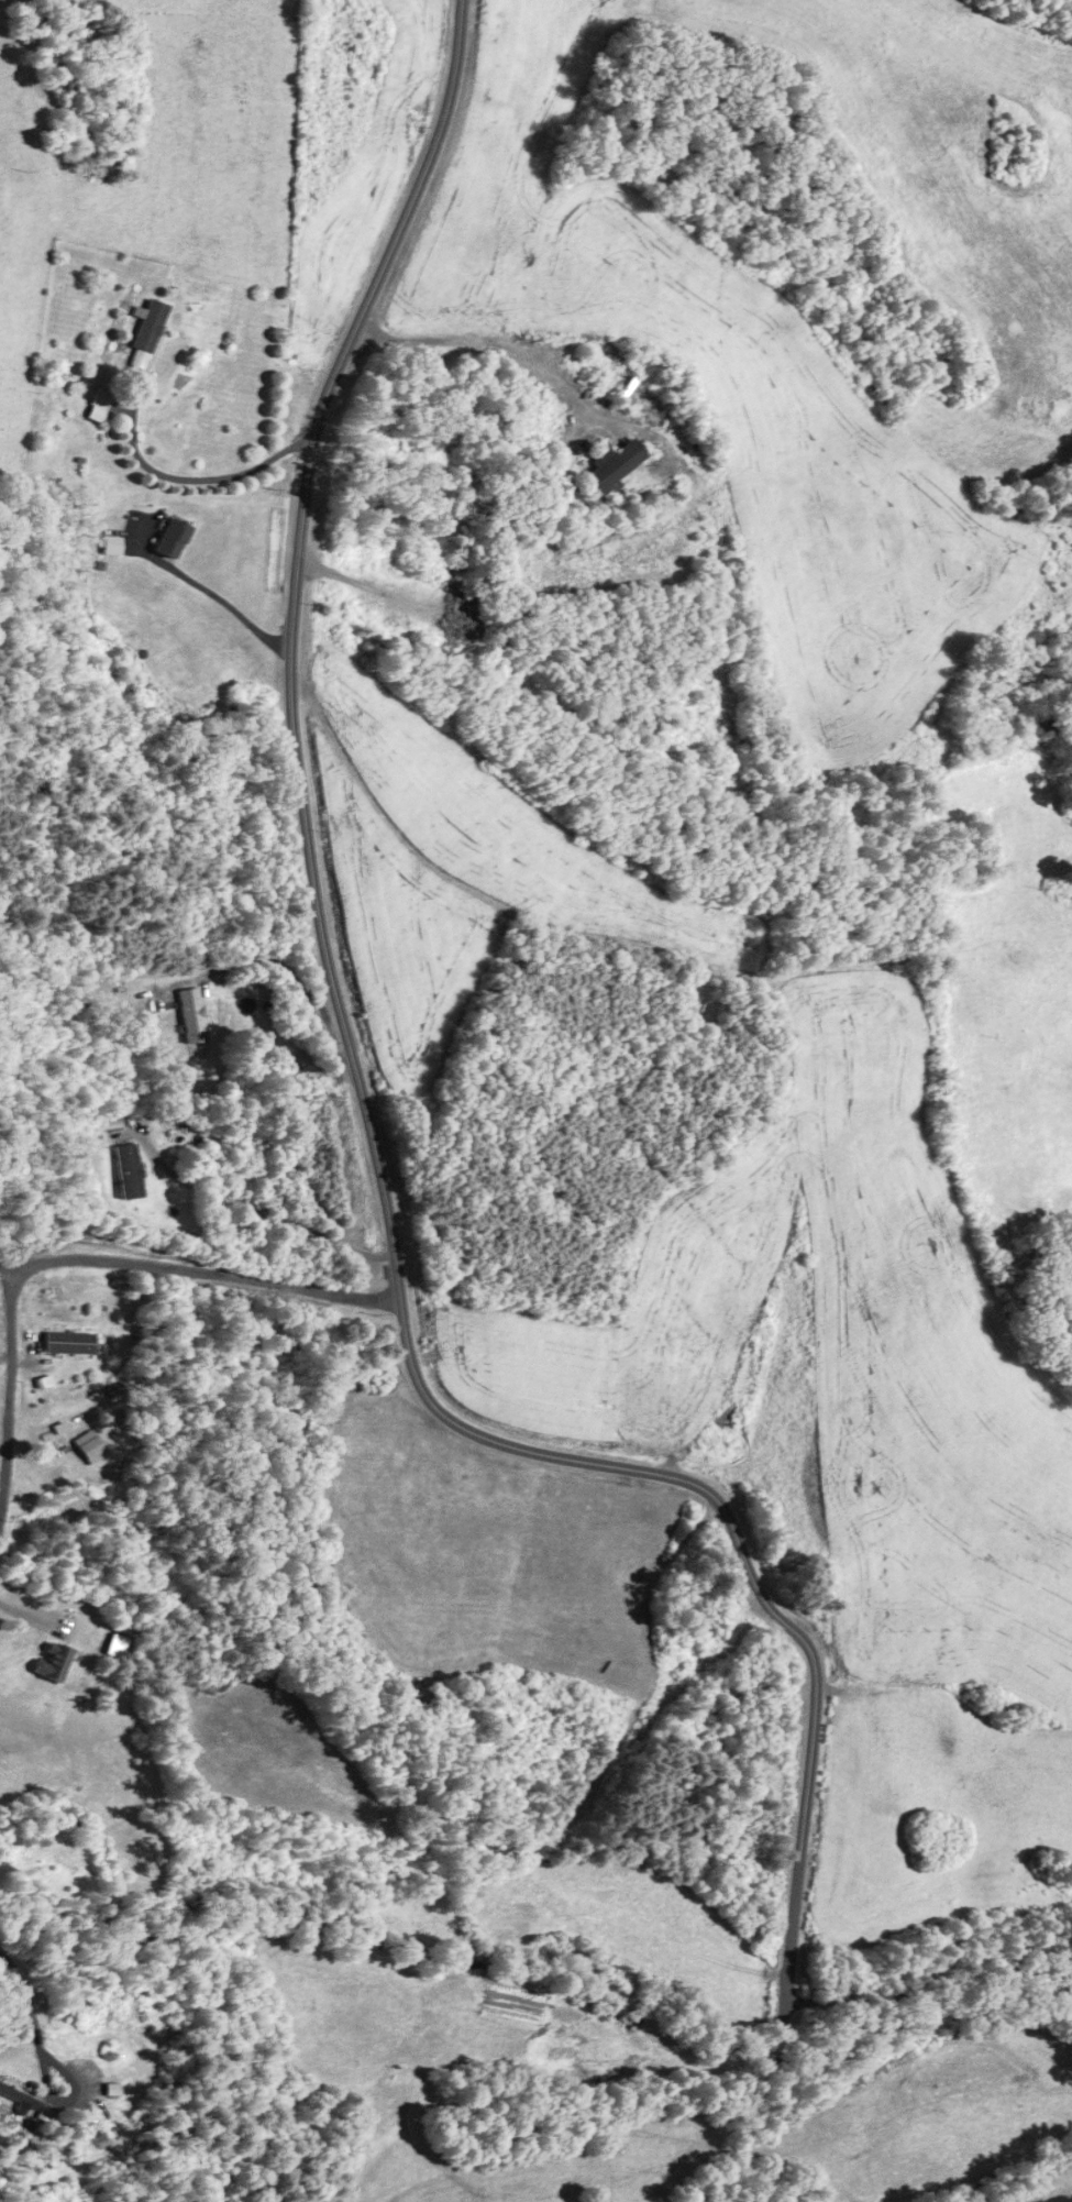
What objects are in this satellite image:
road: (73, 1)
building: (146, 333)
building: (98, 405)
building: (611, 469)
road: (196, 481)
building: (172, 538)
building: (111, 544)
road: (205, 593)
building: (1064, 891)
building: (191, 1017)
road: (371, 1125)
building: (129, 1172)
road: (254, 1209)
road: (200, 1269)
building: (70, 1341)
road: (8, 1387)
building: (53, 1660)
road: (27, 1996)
building: (18, 2095)
road: (70, 2096)

